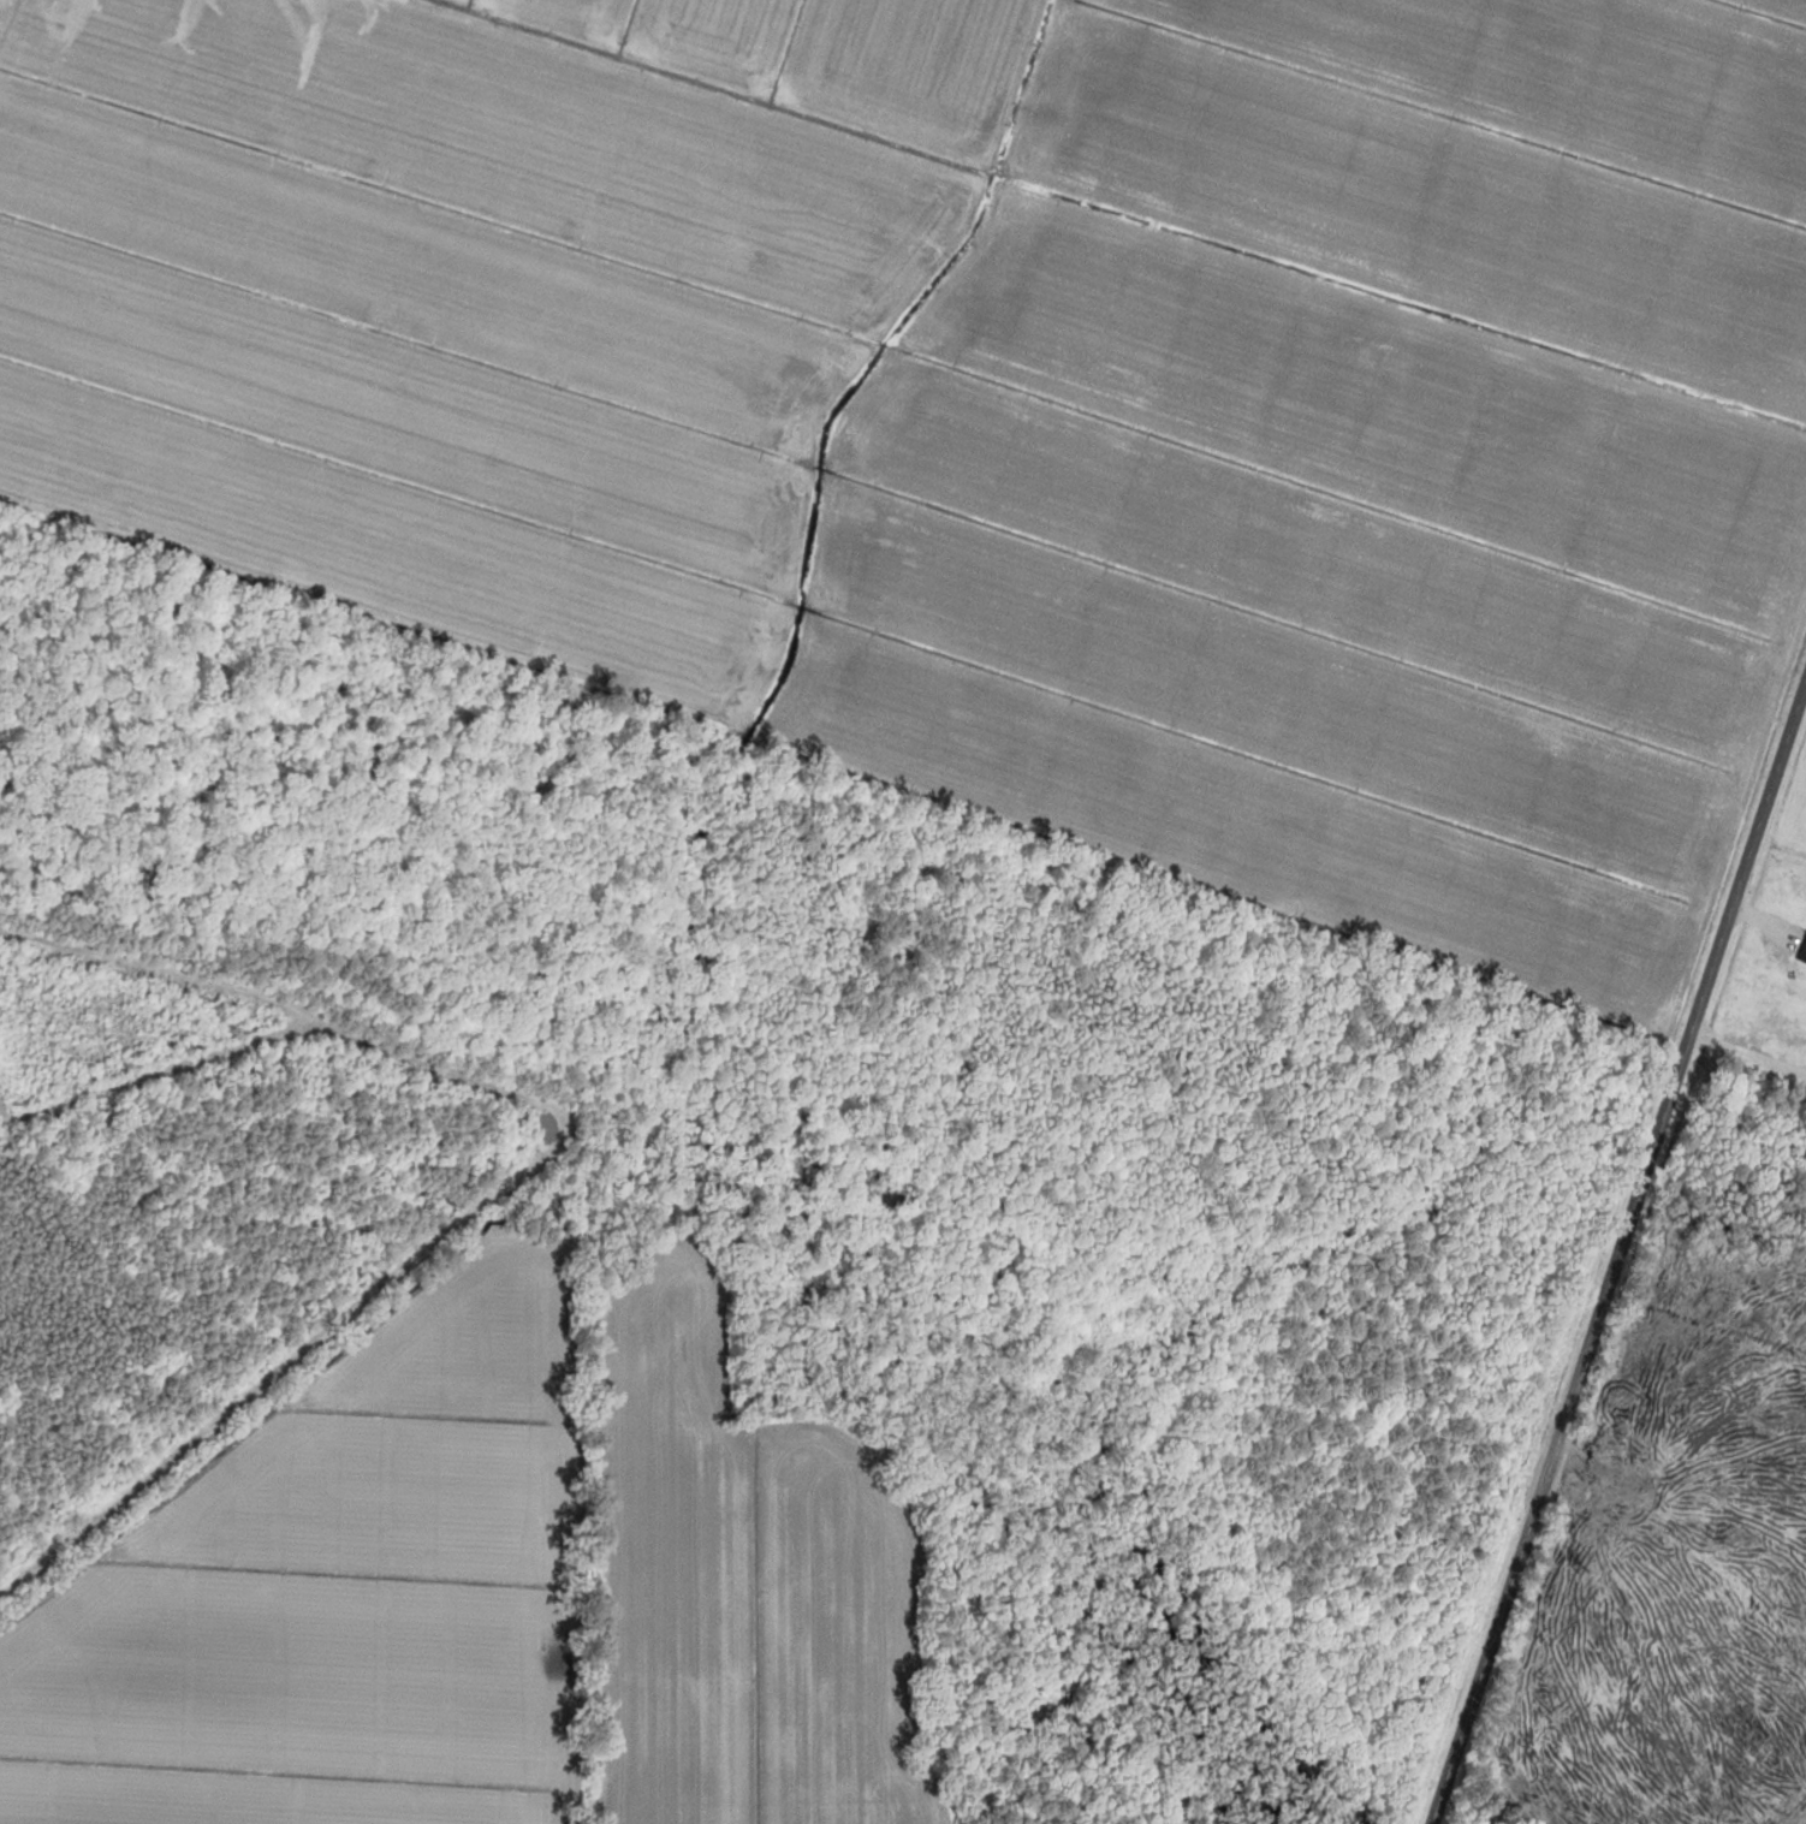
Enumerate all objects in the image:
building: (1801, 952)
building: (1770, 987)
road: (1618, 1254)

